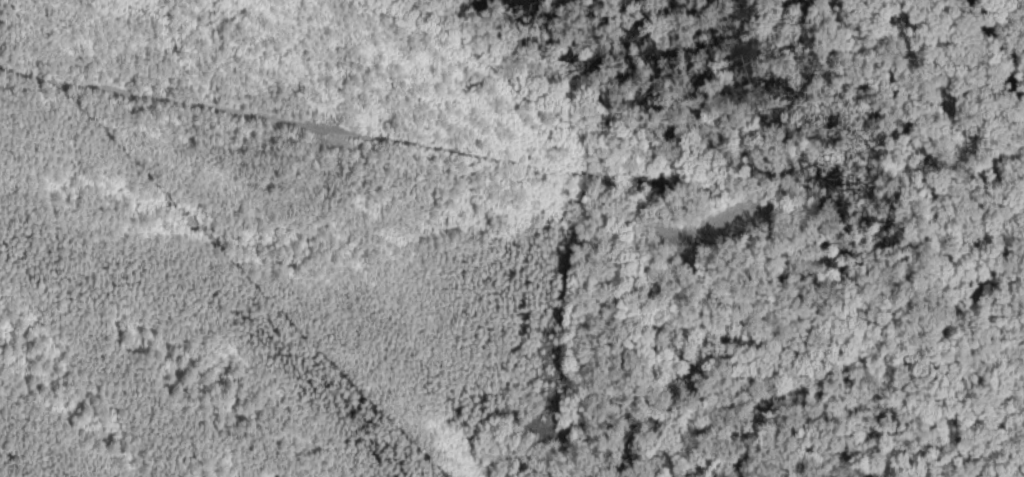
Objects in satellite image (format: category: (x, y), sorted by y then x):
river: (1000, 42)
road: (380, 142)

